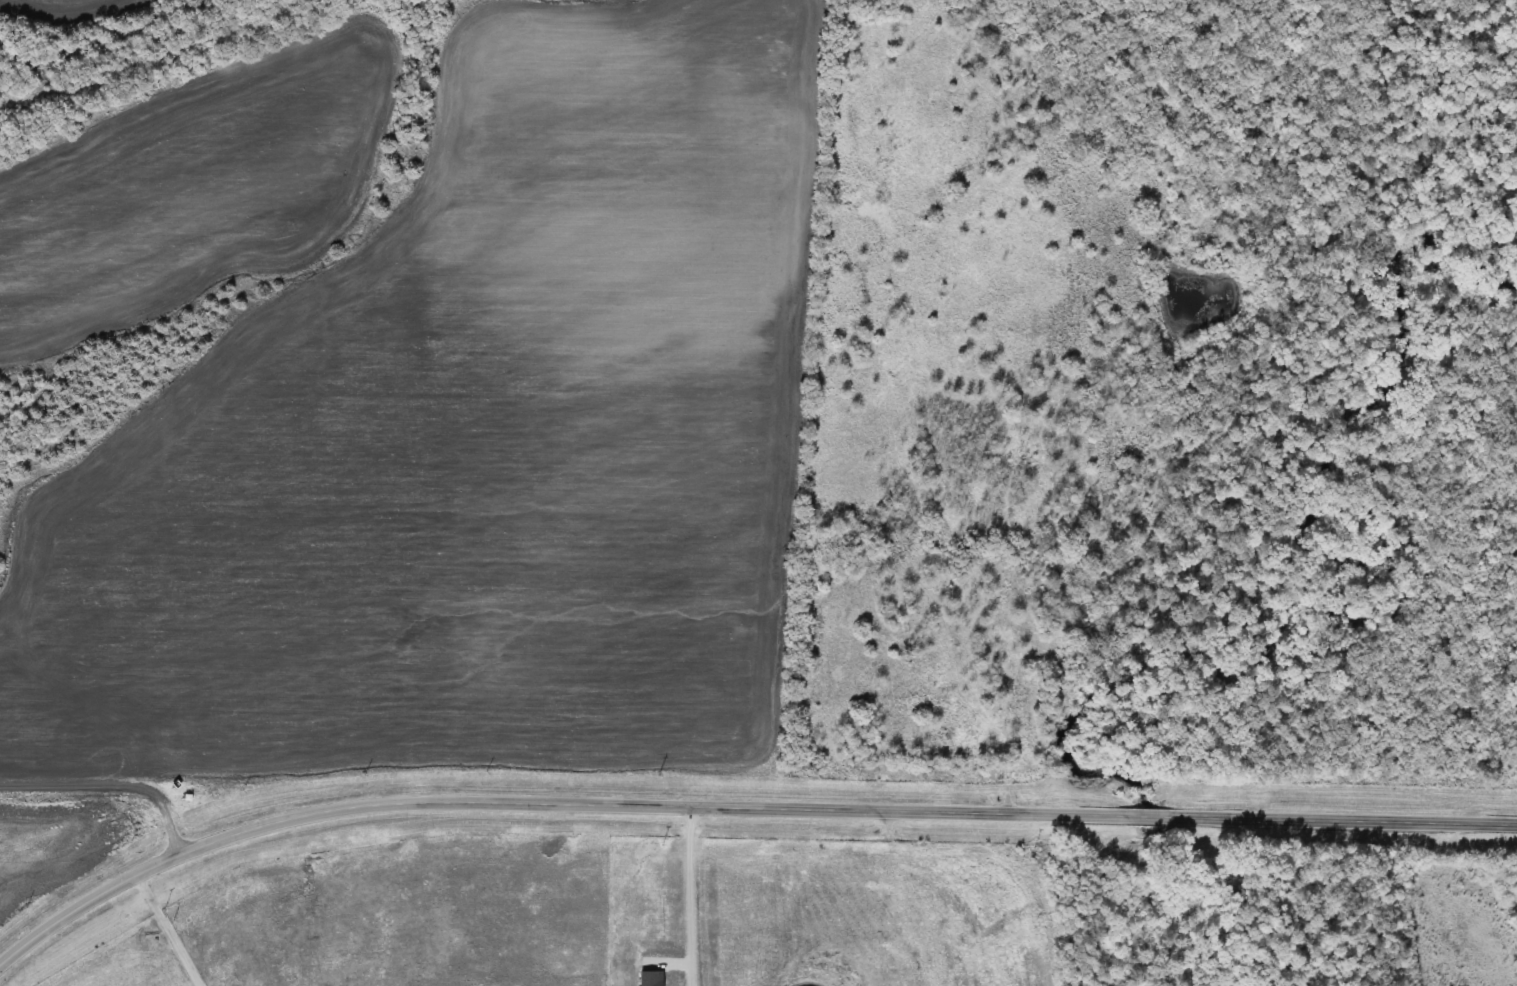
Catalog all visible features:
road: (110, 785)
road: (542, 803)
road: (1150, 817)
road: (1346, 821)
road: (690, 896)
road: (172, 930)

